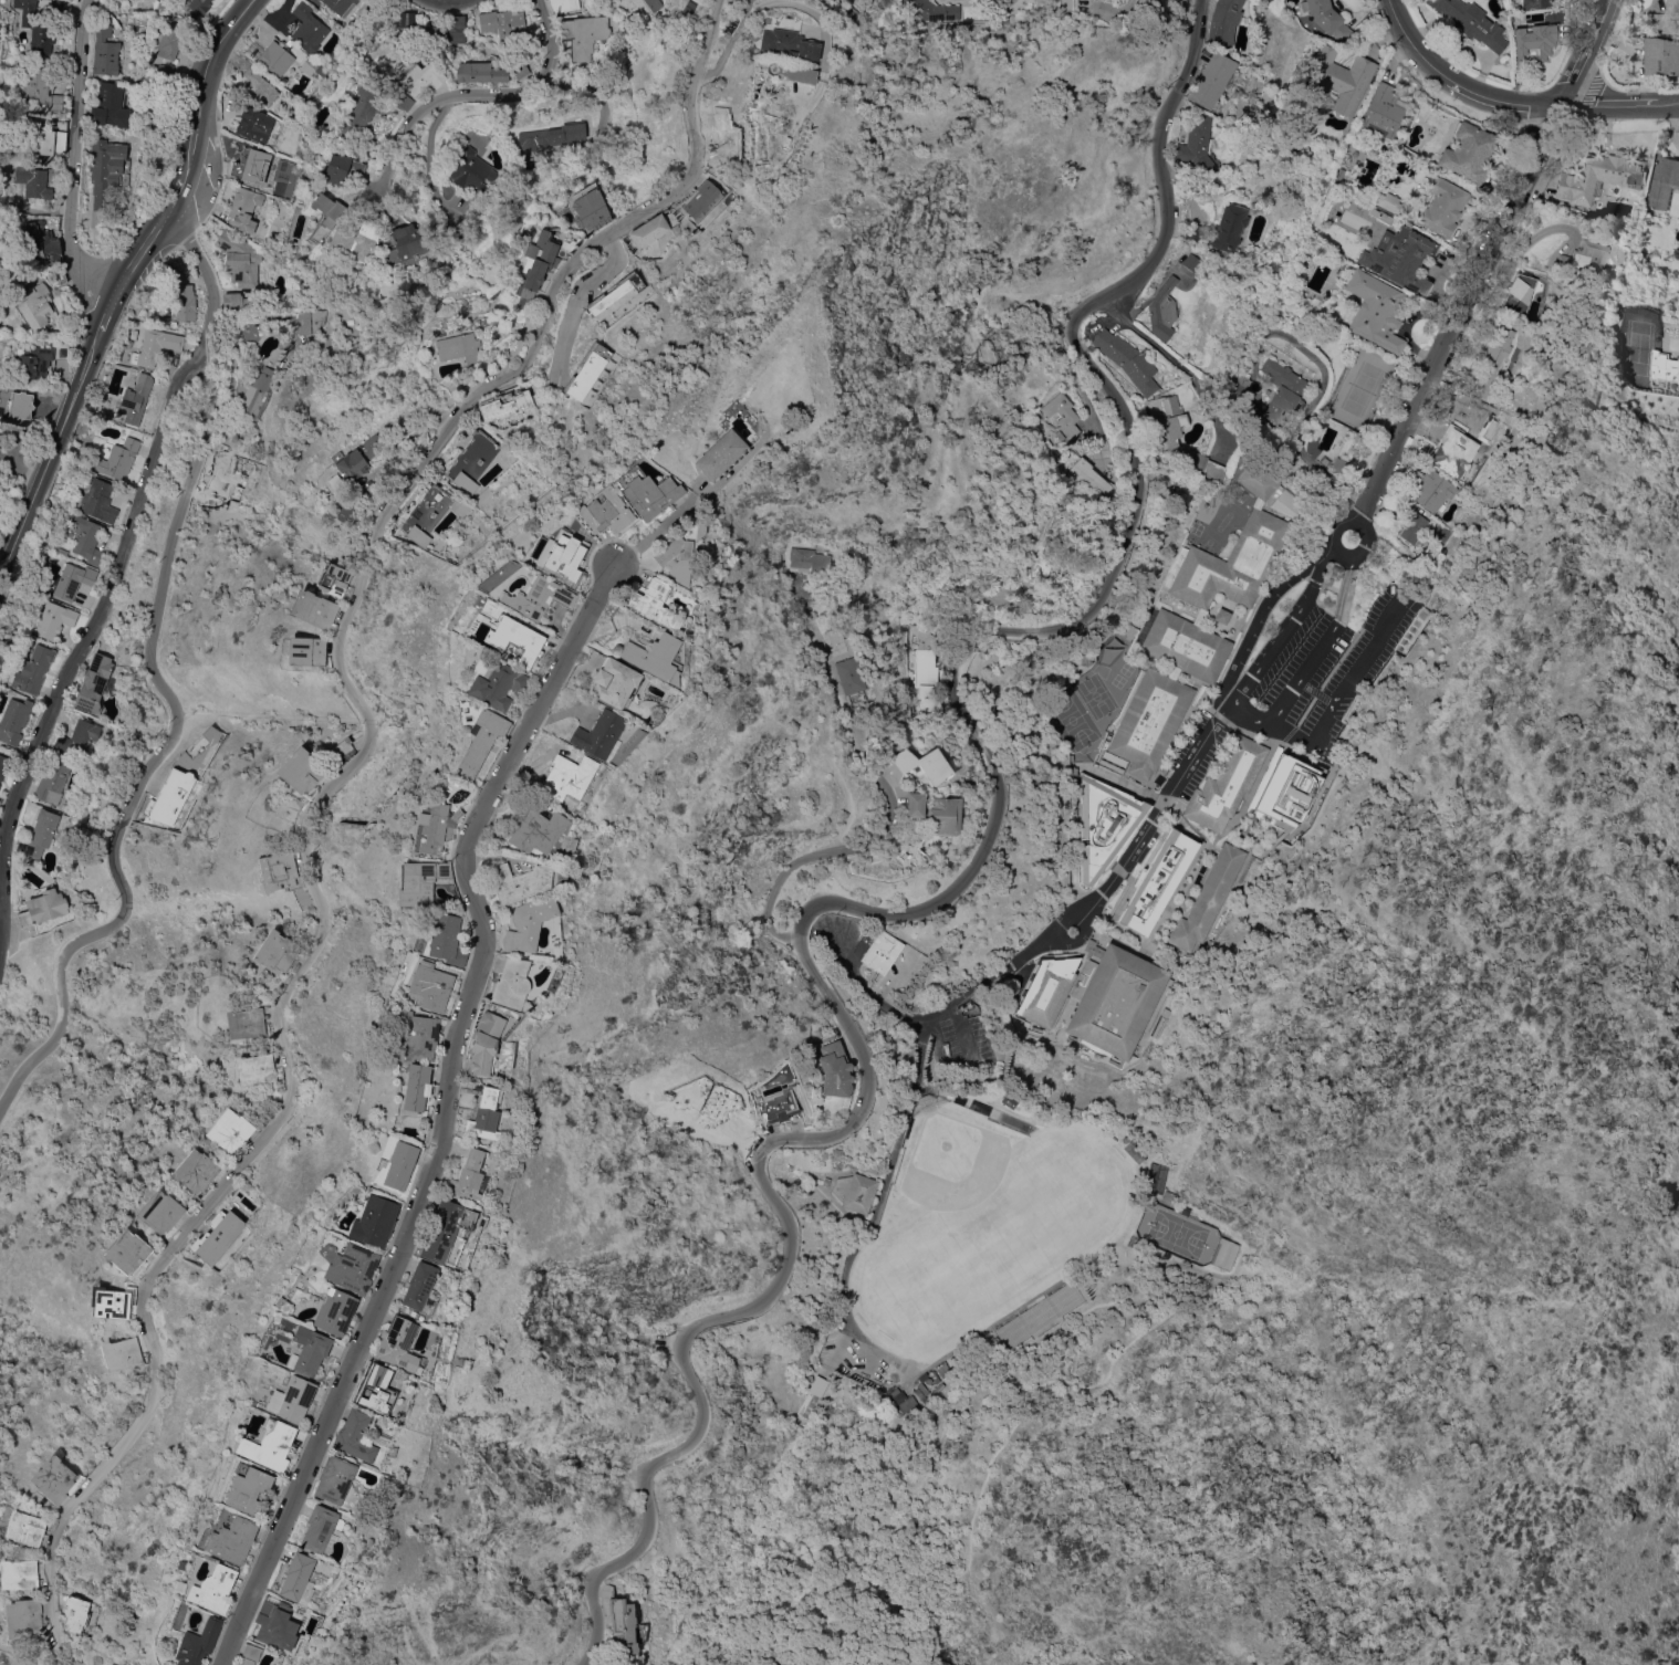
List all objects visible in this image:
building: (1115, 0)
road: (451, 2)
road: (758, 3)
building: (1535, 3)
building: (563, 4)
building: (653, 4)
building: (59, 6)
building: (159, 6)
building: (194, 6)
building: (337, 6)
building: (1065, 6)
building: (688, 9)
building: (935, 10)
building: (848, 11)
building: (1326, 18)
building: (1668, 18)
building: (1222, 21)
building: (503, 22)
building: (1471, 22)
building: (35, 28)
building: (307, 28)
building: (438, 30)
building: (584, 34)
building: (1534, 40)
building: (169, 42)
building: (786, 43)
building: (105, 52)
building: (1661, 56)
building: (275, 59)
building: (309, 66)
building: (520, 69)
building: (165, 71)
building: (480, 72)
building: (794, 73)
building: (420, 77)
building: (1339, 77)
building: (1211, 81)
building: (257, 83)
building: (39, 87)
road: (471, 92)
building: (403, 101)
road: (1511, 102)
building: (111, 105)
building: (362, 107)
building: (1383, 113)
building: (1299, 119)
building: (253, 124)
building: (763, 136)
building: (546, 140)
building: (50, 142)
building: (154, 142)
building: (1197, 147)
building: (1468, 153)
building: (715, 154)
road: (204, 155)
road: (72, 160)
building: (249, 164)
building: (337, 169)
building: (468, 169)
building: (1599, 176)
building: (105, 177)
building: (36, 180)
building: (1664, 181)
building: (707, 199)
building: (1393, 203)
building: (588, 207)
building: (1441, 207)
building: (244, 209)
building: (324, 216)
building: (1228, 228)
building: (648, 231)
building: (1192, 232)
building: (114, 233)
building: (460, 234)
road: (1534, 234)
building: (272, 240)
building: (41, 241)
building: (357, 241)
building: (409, 241)
building: (1397, 251)
building: (240, 258)
building: (539, 259)
road: (1484, 260)
building: (1585, 260)
building: (1191, 262)
building: (1516, 292)
building: (394, 293)
building: (181, 295)
building: (615, 295)
road: (576, 299)
building: (232, 301)
building: (523, 304)
building: (35, 305)
building: (1162, 311)
building: (1376, 311)
road: (109, 315)
building: (310, 321)
building: (249, 332)
building: (132, 333)
road: (1144, 337)
building: (155, 346)
building: (459, 347)
building: (513, 347)
building: (40, 358)
building: (1493, 358)
building: (1127, 359)
building: (586, 370)
building: (1664, 370)
building: (1243, 383)
building: (1282, 391)
building: (258, 392)
building: (136, 398)
building: (505, 402)
building: (21, 405)
road: (1209, 409)
building: (1064, 417)
building: (1466, 417)
building: (0, 437)
building: (1167, 437)
building: (1312, 446)
building: (717, 454)
building: (1452, 455)
building: (358, 458)
road: (51, 459)
building: (117, 459)
building: (469, 461)
road: (733, 461)
building: (1338, 464)
building: (1086, 477)
building: (335, 482)
building: (228, 488)
building: (1433, 490)
building: (354, 494)
building: (647, 494)
building: (98, 500)
building: (1285, 504)
building: (345, 510)
building: (603, 512)
building: (427, 513)
road: (1343, 519)
building: (1412, 526)
road: (654, 527)
building: (1442, 532)
building: (86, 540)
building: (1045, 548)
building: (1233, 551)
building: (560, 555)
building: (672, 559)
building: (809, 561)
building: (987, 572)
building: (953, 575)
road: (1, 577)
building: (334, 579)
building: (70, 580)
building: (1328, 580)
building: (535, 597)
building: (650, 601)
building: (313, 609)
building: (1221, 616)
building: (1199, 617)
building: (54, 621)
building: (1126, 630)
building: (834, 635)
building: (512, 639)
building: (1186, 646)
road: (76, 648)
building: (305, 650)
building: (653, 657)
building: (925, 658)
building: (33, 670)
building: (1174, 672)
building: (848, 676)
building: (491, 682)
building: (611, 682)
building: (94, 683)
road: (169, 694)
road: (1249, 718)
building: (14, 720)
building: (1150, 721)
building: (477, 733)
building: (597, 735)
building: (77, 737)
building: (1110, 761)
building: (1272, 762)
building: (922, 764)
building: (3, 765)
building: (301, 771)
building: (1295, 773)
building: (565, 777)
building: (52, 781)
building: (1230, 786)
building: (1093, 797)
road: (322, 798)
road: (893, 803)
building: (914, 804)
building: (943, 815)
building: (432, 828)
building: (534, 831)
building: (39, 835)
building: (1216, 842)
building: (277, 870)
building: (1158, 880)
building: (418, 881)
building: (517, 881)
building: (1209, 898)
road: (935, 902)
building: (41, 909)
building: (525, 923)
building: (1097, 929)
road: (1058, 935)
building: (440, 939)
building: (882, 951)
building: (277, 952)
building: (509, 983)
building: (427, 986)
building: (1098, 997)
building: (246, 1023)
building: (1159, 1026)
building: (415, 1035)
building: (488, 1047)
building: (1117, 1062)
building: (254, 1068)
building: (835, 1069)
building: (414, 1087)
building: (775, 1103)
building: (985, 1108)
road: (447, 1113)
building: (483, 1114)
building: (501, 1122)
building: (229, 1129)
building: (1135, 1150)
building: (398, 1165)
building: (196, 1170)
building: (467, 1176)
building: (826, 1181)
building: (855, 1191)
building: (1170, 1196)
building: (1186, 1210)
building: (160, 1212)
building: (373, 1221)
park: (983, 1223)
building: (446, 1232)
park: (1176, 1233)
building: (216, 1236)
building: (128, 1252)
building: (1224, 1253)
building: (351, 1267)
building: (417, 1285)
building: (112, 1303)
building: (285, 1306)
building: (333, 1311)
building: (1036, 1316)
building: (396, 1344)
building: (307, 1350)
building: (121, 1353)
building: (943, 1368)
building: (928, 1380)
building: (866, 1381)
building: (889, 1382)
building: (818, 1384)
building: (937, 1387)
building: (375, 1390)
building: (891, 1392)
road: (1025, 1392)
building: (897, 1396)
building: (291, 1399)
building: (908, 1403)
building: (354, 1436)
building: (268, 1446)
building: (53, 1478)
building: (333, 1479)
building: (247, 1489)
building: (25, 1528)
building: (320, 1529)
building: (231, 1540)
building: (19, 1573)
building: (296, 1579)
building: (178, 1587)
building: (212, 1589)
building: (76, 1613)
building: (23, 1617)
building: (273, 1623)
building: (622, 1626)
building: (197, 1643)
building: (248, 1655)

